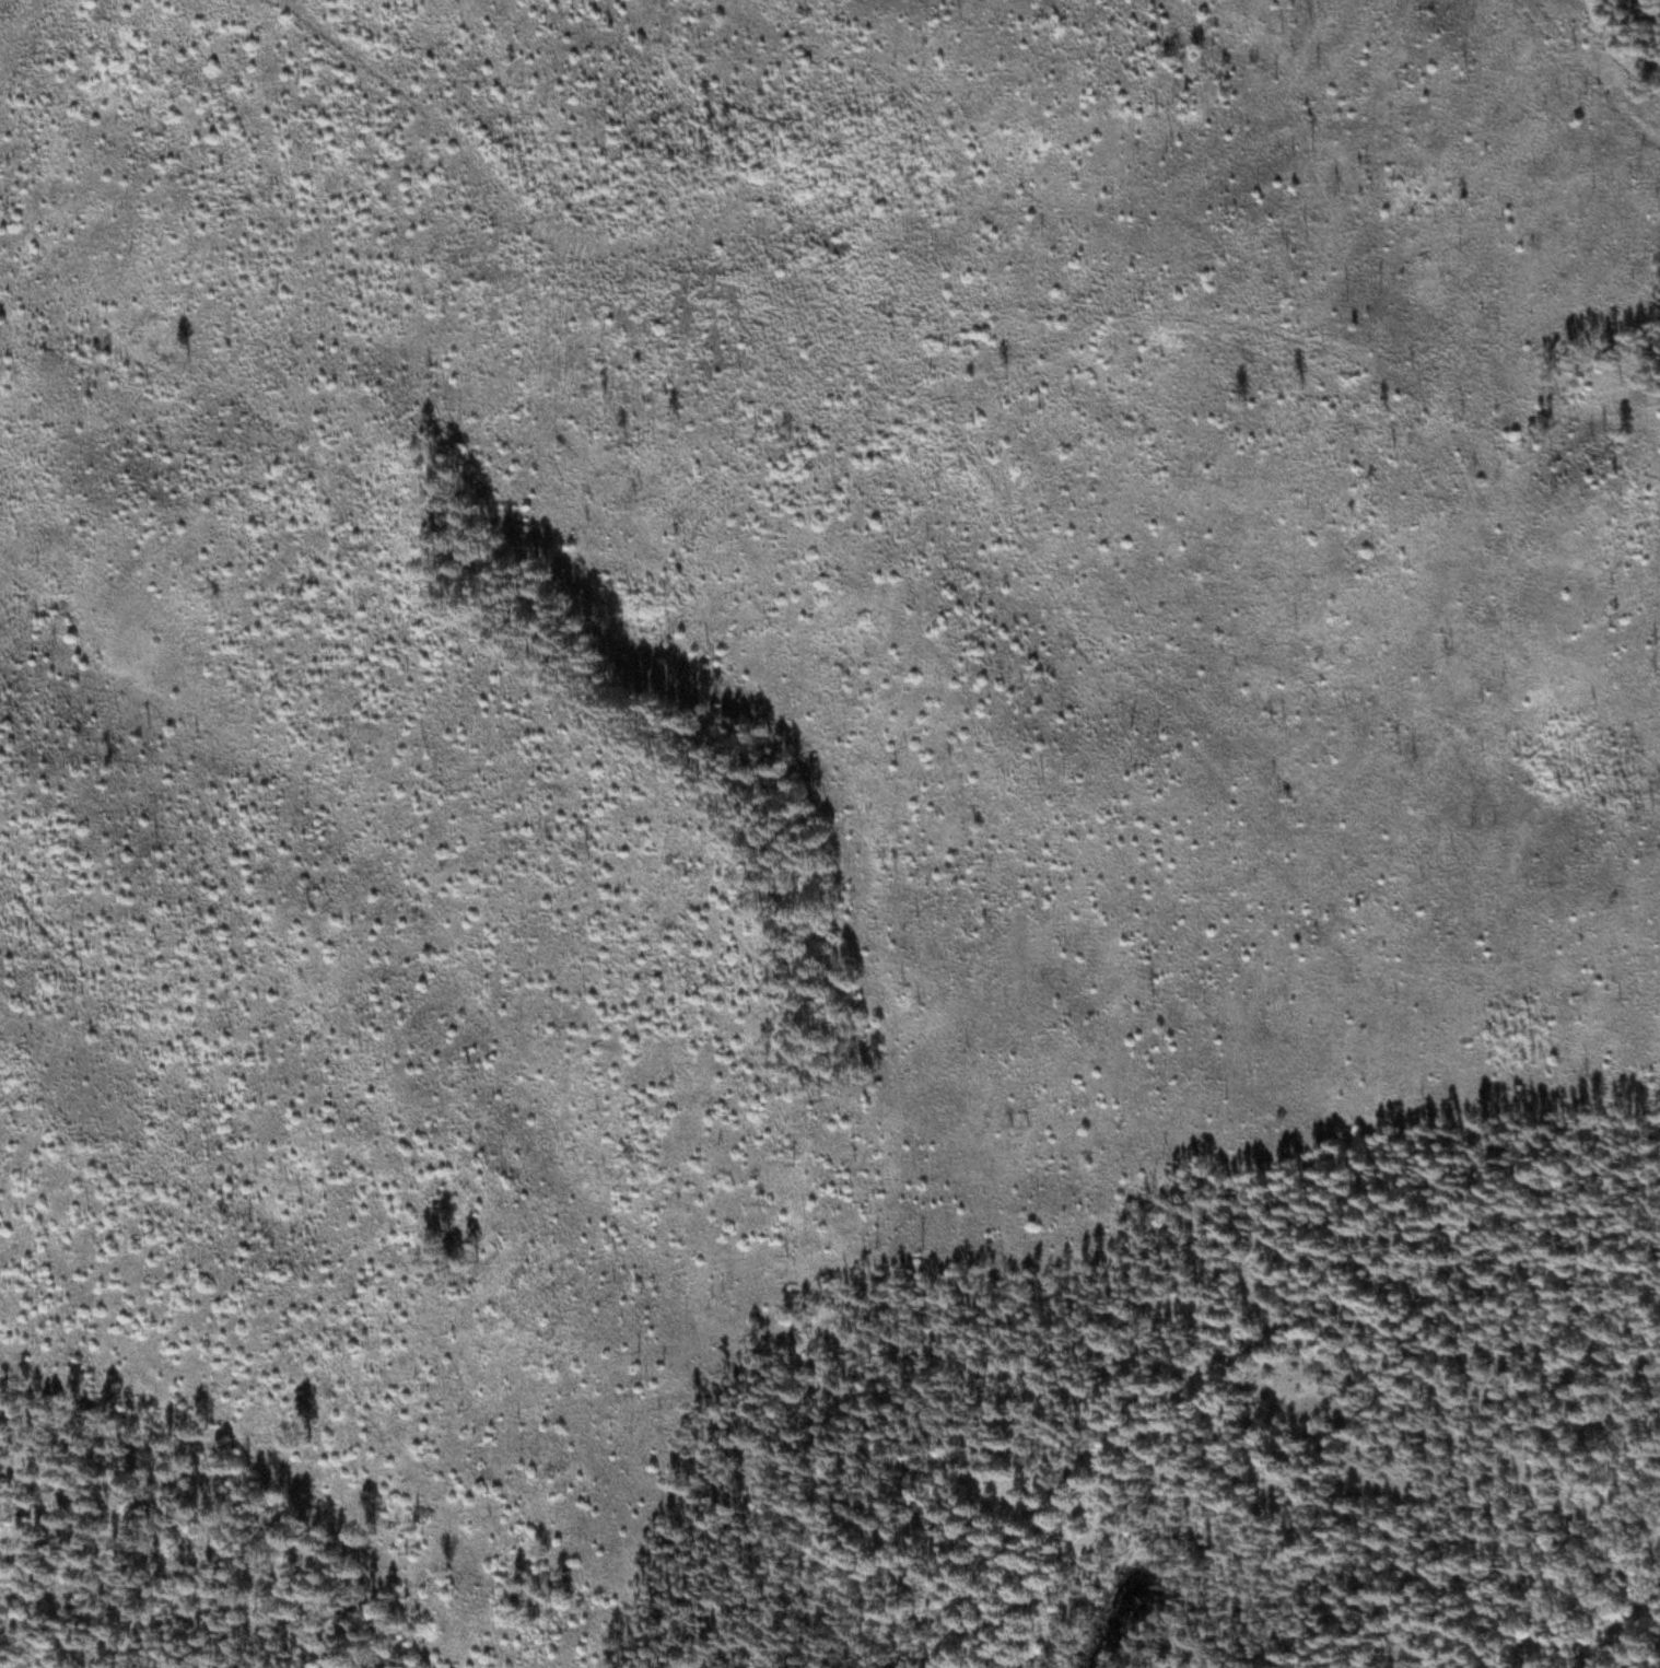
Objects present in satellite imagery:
road: (1624, 44)
road: (1103, 1385)
road: (176, 1514)

